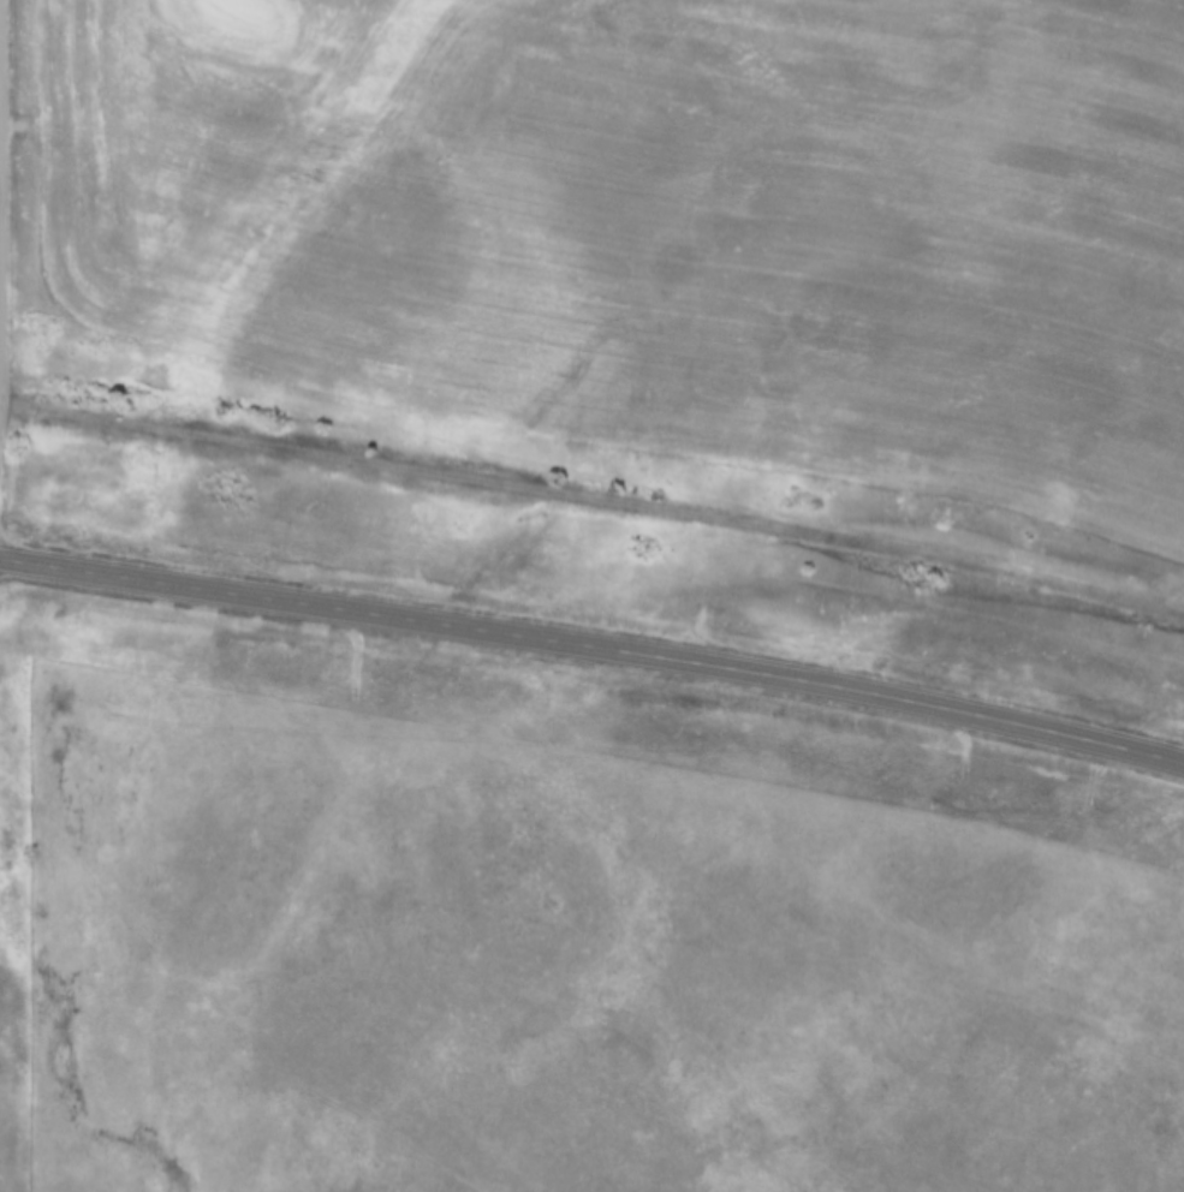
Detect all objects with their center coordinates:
road: (1, 217)
road: (1, 398)
road: (594, 640)

